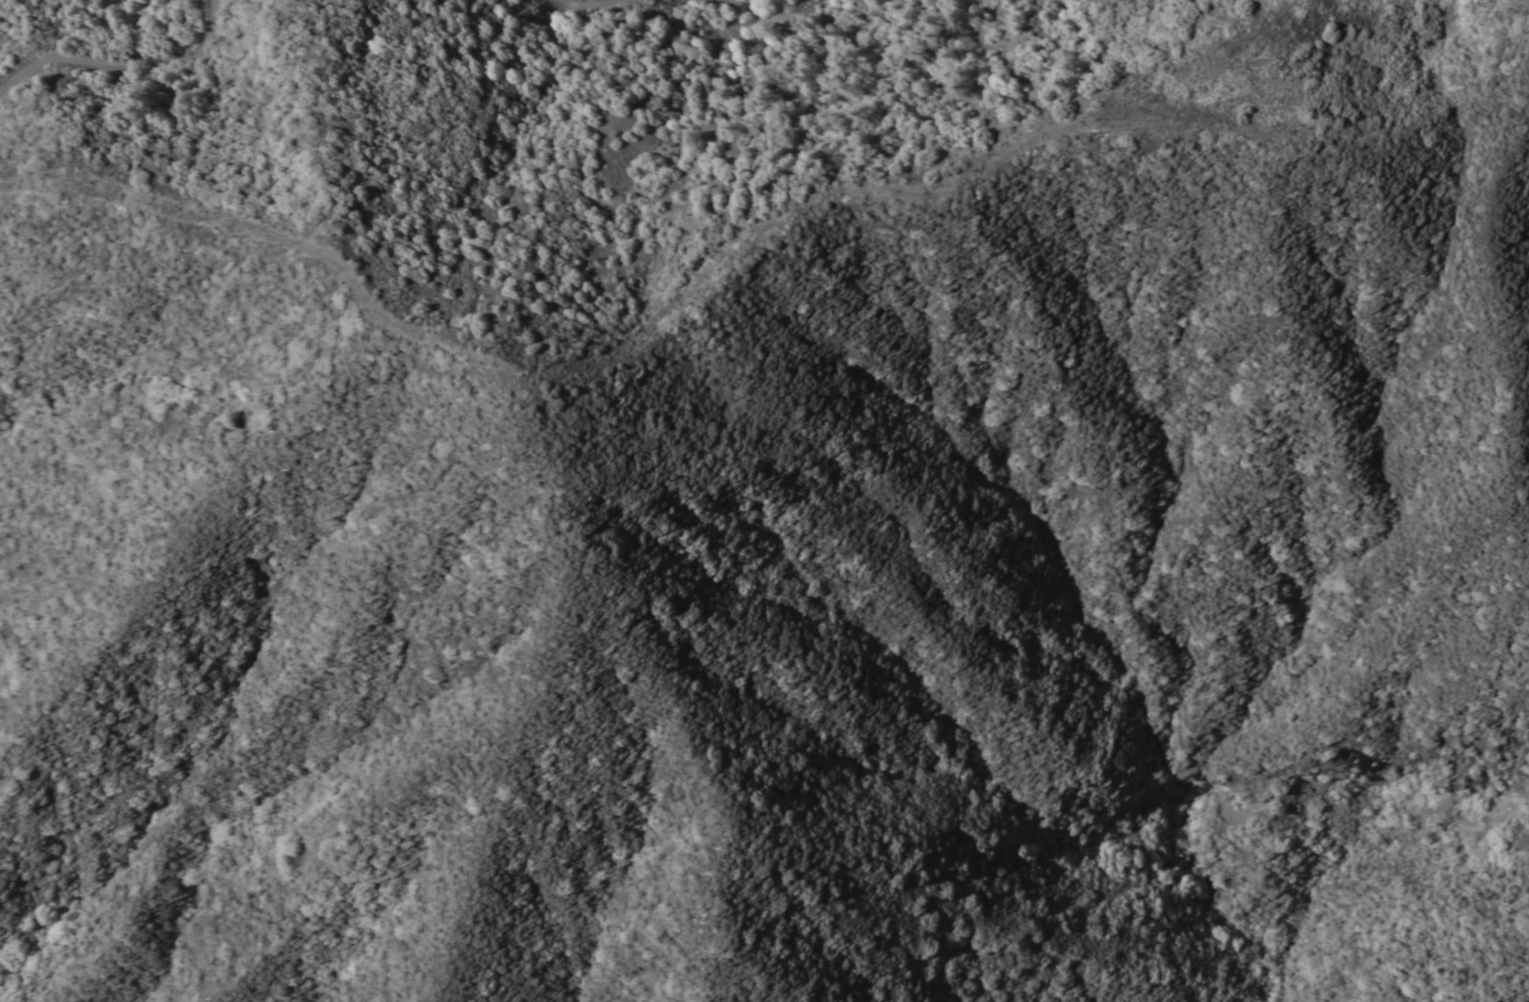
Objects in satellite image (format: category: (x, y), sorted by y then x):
road: (728, 0)
road: (582, 4)
road: (119, 63)

